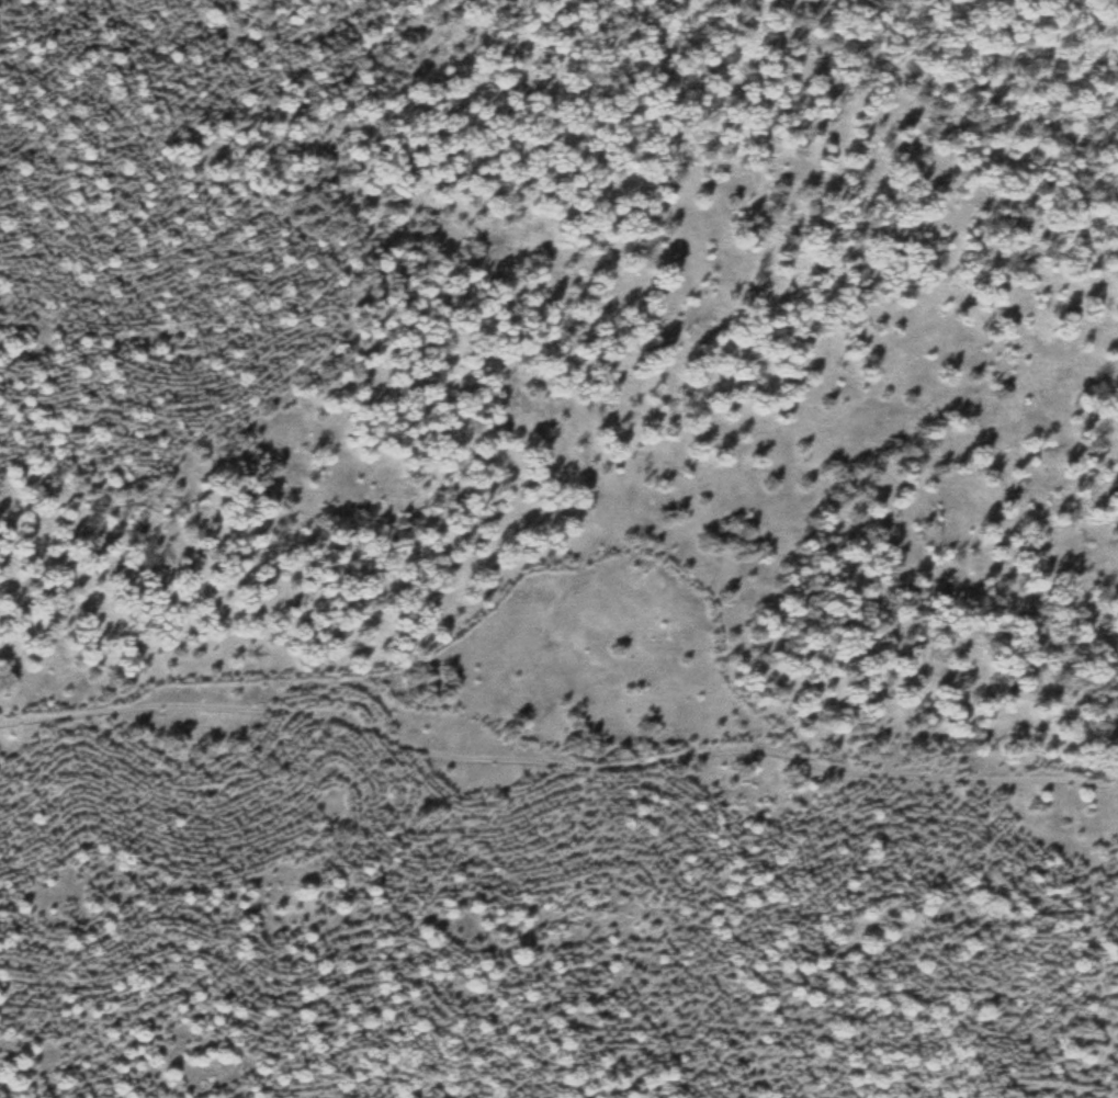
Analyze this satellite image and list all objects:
road: (556, 767)

